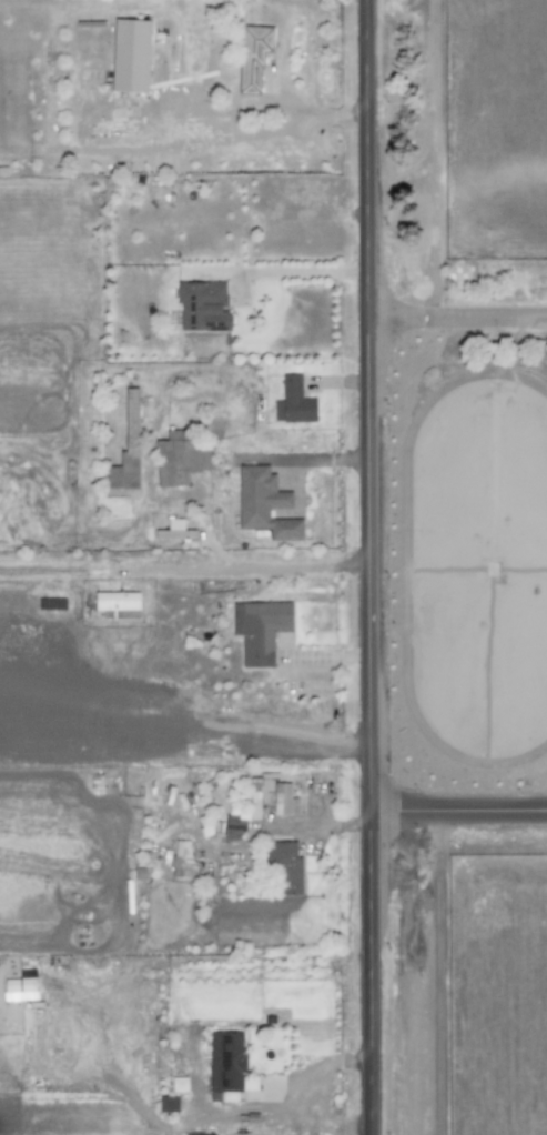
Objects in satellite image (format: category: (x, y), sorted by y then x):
building: (130, 56)
building: (257, 57)
road: (257, 109)
road: (435, 159)
road: (295, 271)
building: (203, 307)
road: (460, 319)
road: (350, 383)
building: (302, 401)
building: (125, 454)
building: (185, 458)
building: (264, 504)
building: (182, 526)
road: (369, 567)
road: (184, 570)
building: (118, 605)
building: (260, 630)
road: (325, 656)
building: (260, 793)
building: (287, 798)
road: (462, 812)
road: (326, 824)
building: (240, 825)
building: (182, 860)
building: (291, 868)
road: (438, 974)
building: (20, 987)
building: (235, 1061)
road: (325, 1072)
building: (179, 1085)
road: (123, 1093)
building: (168, 1104)

